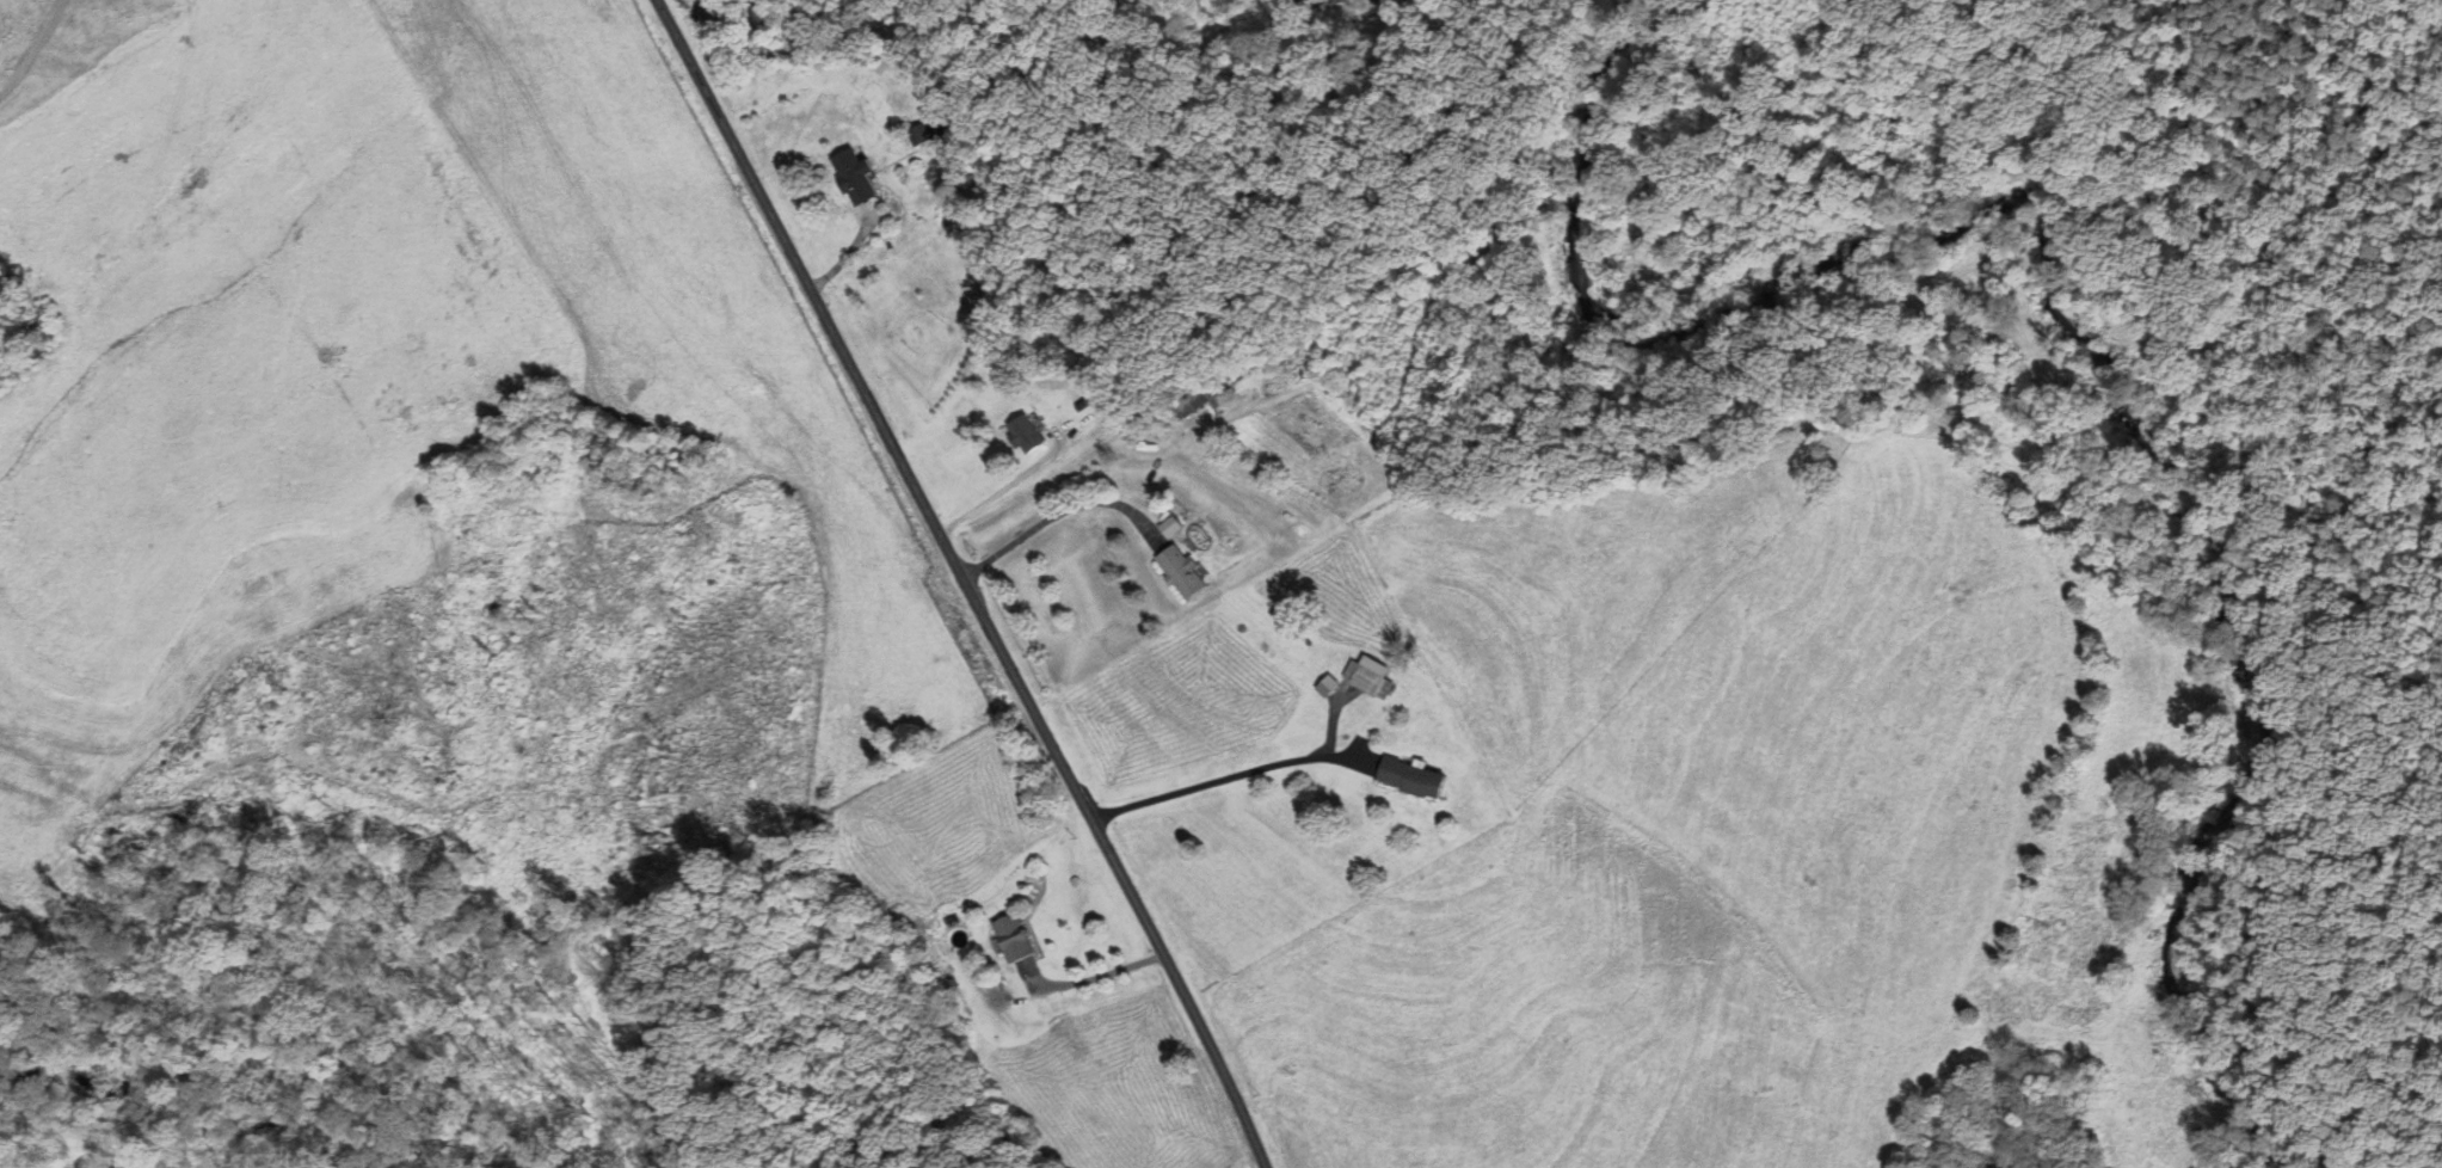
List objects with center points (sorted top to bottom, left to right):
building: (922, 128)
building: (855, 177)
building: (1017, 434)
road: (1008, 486)
road: (1059, 512)
building: (1182, 572)
road: (964, 582)
building: (1373, 680)
building: (1417, 777)
road: (1206, 782)
building: (1017, 938)

